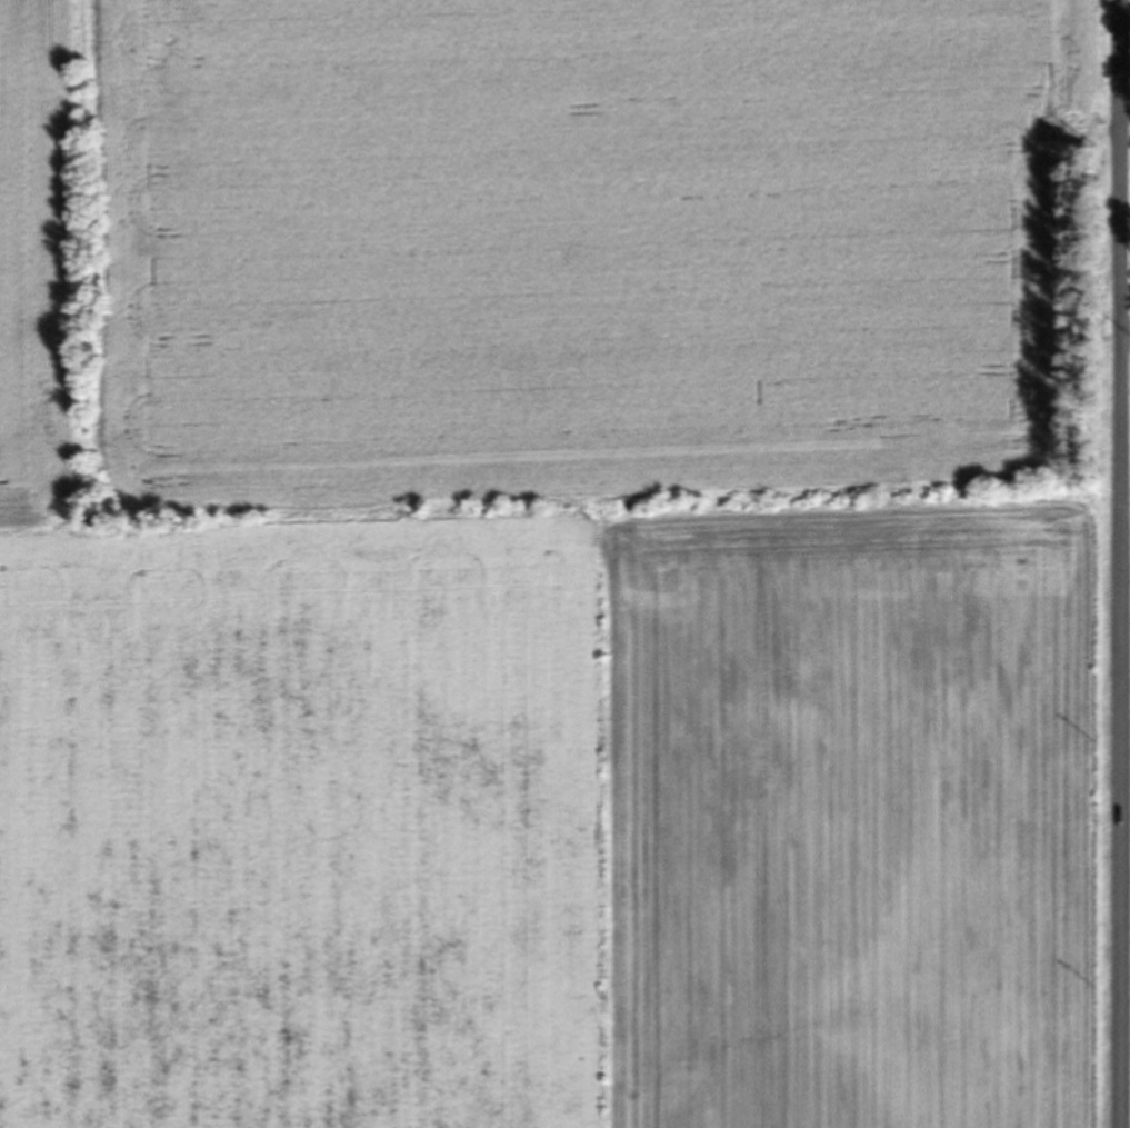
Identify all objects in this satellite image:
road: (1126, 338)
road: (1121, 563)

